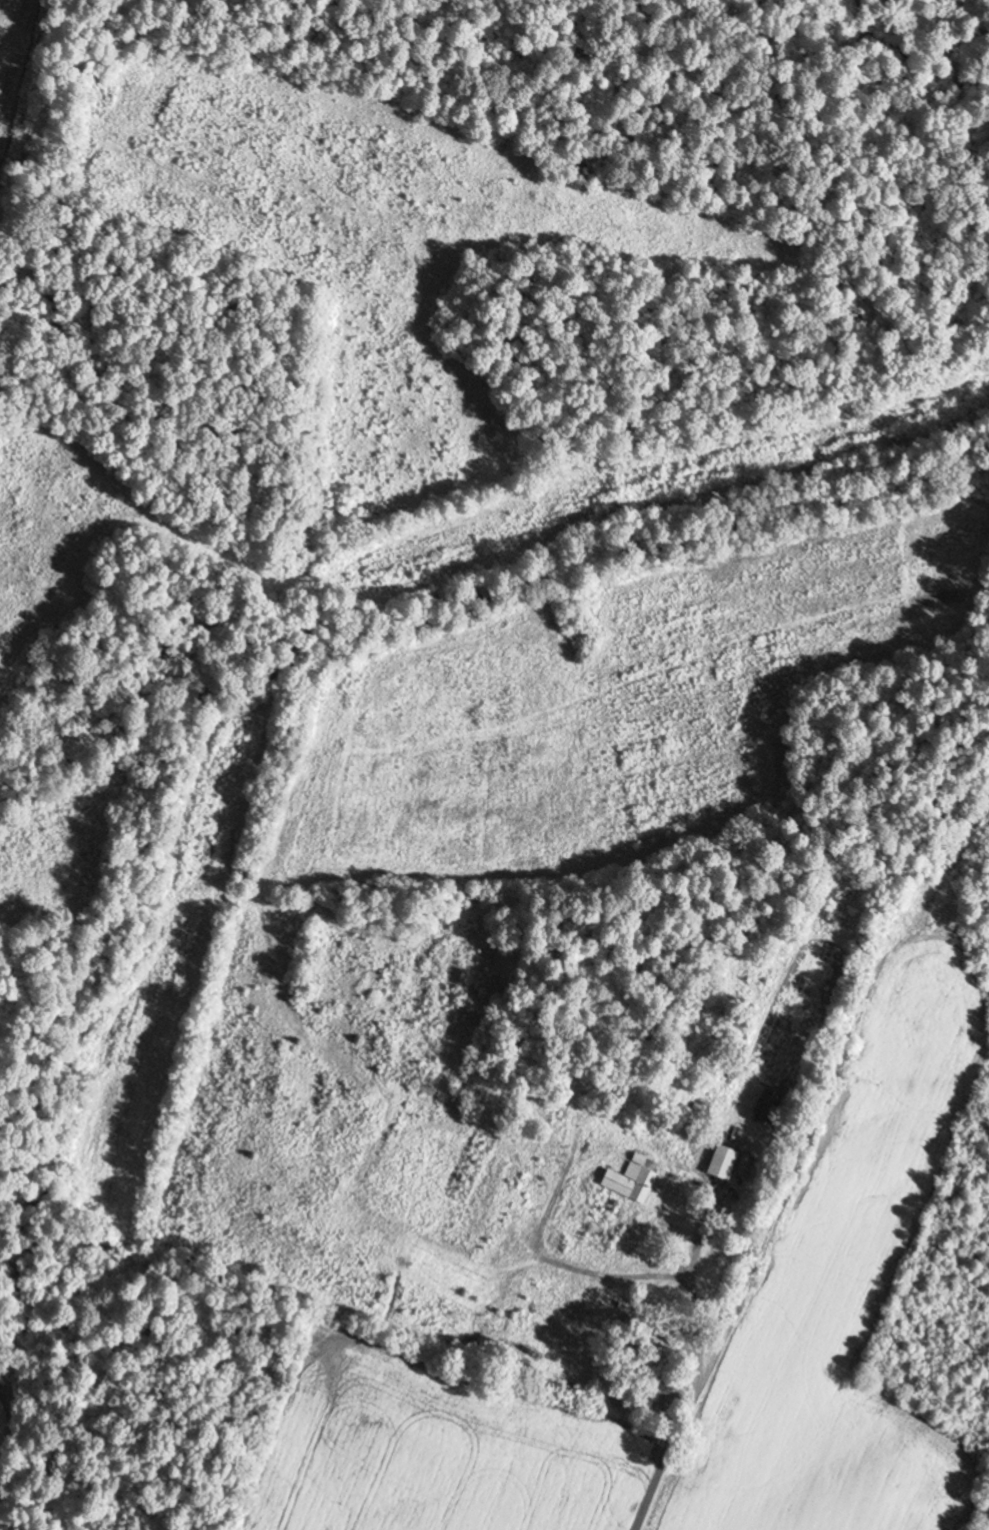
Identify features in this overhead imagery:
road: (658, 1479)

